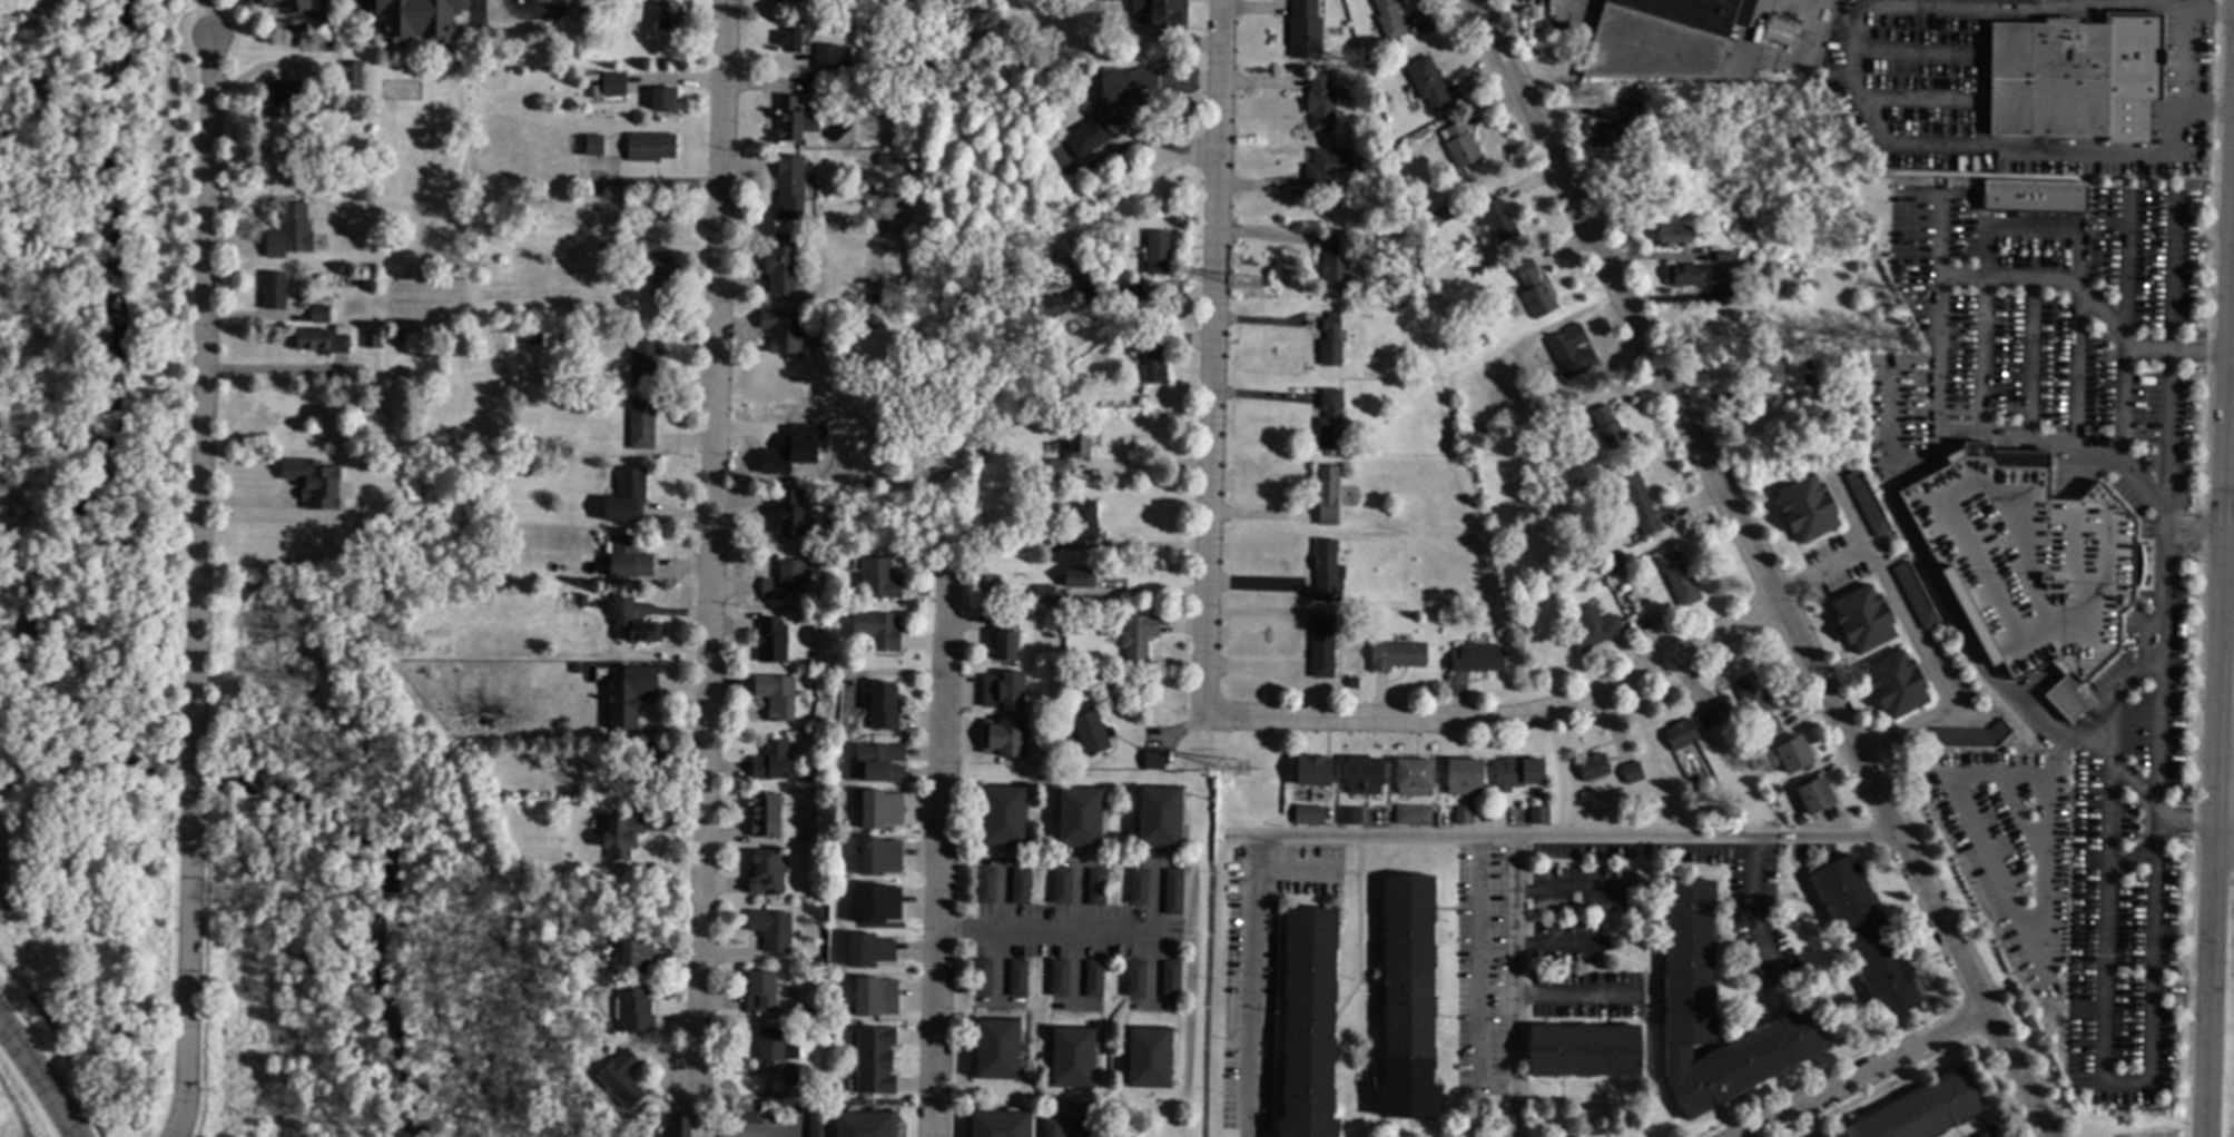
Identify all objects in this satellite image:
building: (535, 0)
building: (785, 0)
building: (603, 1)
building: (284, 4)
road: (1797, 9)
building: (1159, 13)
building: (667, 14)
road: (210, 16)
building: (1389, 18)
building: (416, 19)
building: (1305, 30)
building: (1778, 33)
building: (1664, 38)
building: (789, 40)
building: (826, 58)
road: (2183, 58)
building: (849, 60)
building: (1366, 61)
building: (2070, 73)
building: (350, 75)
building: (590, 78)
building: (875, 83)
building: (1427, 85)
building: (613, 86)
building: (282, 97)
building: (665, 99)
building: (1320, 103)
building: (1114, 108)
building: (1632, 116)
river: (147, 119)
building: (790, 119)
building: (1603, 136)
building: (590, 146)
building: (1459, 146)
building: (1405, 147)
building: (649, 148)
building: (1368, 157)
building: (885, 160)
building: (1328, 167)
building: (480, 181)
road: (1140, 185)
building: (790, 188)
building: (2033, 198)
building: (1496, 220)
building: (1456, 224)
building: (289, 233)
building: (1674, 236)
building: (1157, 253)
building: (1725, 258)
building: (1335, 260)
building: (780, 265)
building: (656, 268)
building: (1725, 274)
building: (1684, 276)
power tower: (1258, 285)
building: (1533, 290)
building: (274, 291)
building: (1089, 293)
building: (1129, 295)
building: (1449, 308)
building: (1045, 310)
building: (319, 314)
building: (870, 318)
building: (573, 320)
building: (783, 330)
building: (400, 335)
building: (523, 337)
building: (317, 340)
building: (371, 340)
building: (1330, 344)
building: (1568, 352)
road: (2181, 352)
building: (1509, 358)
road: (1212, 359)
building: (643, 360)
building: (1150, 363)
building: (1498, 363)
building: (1815, 364)
building: (1769, 367)
road: (267, 372)
road: (1936, 384)
road: (201, 388)
building: (1043, 401)
building: (1568, 415)
building: (1329, 421)
building: (641, 423)
building: (1544, 425)
building: (1607, 428)
building: (959, 441)
building: (524, 444)
building: (794, 449)
road: (2223, 452)
building: (1070, 455)
building: (977, 459)
building: (522, 467)
building: (313, 482)
building: (627, 496)
building: (1327, 496)
building: (1635, 503)
building: (1868, 504)
building: (1807, 508)
road: (2165, 508)
building: (789, 514)
building: (1083, 521)
road: (2193, 534)
building: (1050, 542)
road: (710, 543)
road: (1139, 550)
park: (91, 552)
building: (628, 558)
building: (1615, 558)
building: (2028, 565)
building: (1327, 568)
road: (1758, 568)
building: (1079, 577)
building: (784, 580)
building: (1679, 580)
building: (879, 581)
building: (988, 582)
building: (548, 590)
building: (1045, 595)
building: (1915, 596)
building: (1630, 597)
building: (581, 601)
building: (1635, 605)
building: (1863, 620)
building: (632, 623)
building: (1592, 629)
building: (876, 630)
road: (1911, 630)
building: (1138, 637)
building: (1003, 639)
building: (770, 641)
building: (1322, 647)
road: (1681, 654)
building: (1397, 656)
building: (1477, 659)
building: (1352, 684)
building: (1060, 685)
building: (1896, 685)
building: (1004, 692)
building: (1752, 695)
building: (629, 696)
building: (776, 696)
building: (884, 706)
river: (122, 714)
building: (1709, 720)
road: (1397, 722)
building: (1770, 728)
building: (1092, 733)
building: (1681, 735)
building: (1758, 736)
building: (1003, 738)
building: (1972, 738)
building: (1793, 755)
building: (1153, 760)
building: (771, 761)
building: (880, 762)
building: (653, 764)
road: (2112, 765)
building: (1592, 768)
power tower: (1243, 770)
building: (1312, 771)
building: (1517, 773)
building: (1631, 773)
building: (1364, 775)
building: (805, 777)
building: (1464, 777)
road: (193, 778)
building: (1414, 778)
building: (1942, 778)
road: (2050, 778)
building: (1773, 791)
building: (1814, 797)
building: (1779, 802)
building: (2033, 805)
building: (880, 810)
building: (765, 815)
building: (1003, 815)
building: (1308, 815)
building: (1411, 815)
building: (1464, 815)
building: (1538, 815)
building: (1079, 817)
building: (1159, 817)
building: (1350, 817)
building: (1787, 818)
road: (2186, 823)
road: (2223, 832)
building: (622, 833)
road: (1565, 837)
building: (816, 839)
road: (939, 856)
building: (879, 857)
building: (766, 874)
building: (985, 886)
building: (1020, 887)
building: (1062, 887)
building: (1139, 887)
building: (1096, 888)
building: (1173, 892)
building: (876, 903)
road: (1750, 903)
park: (363, 908)
building: (771, 930)
road: (1055, 932)
building: (1867, 938)
road: (2154, 950)
building: (868, 951)
building: (637, 957)
road: (1476, 962)
road: (188, 975)
building: (982, 978)
building: (1017, 979)
building: (1059, 979)
building: (1093, 979)
building: (1135, 979)
building: (1171, 980)
road: (2207, 982)
road: (1250, 987)
road: (1512, 987)
building: (759, 992)
road: (1568, 993)
building: (875, 997)
building: (1408, 999)
building: (1689, 1000)
building: (633, 1011)
building: (1309, 1025)
building: (774, 1047)
building: (996, 1049)
building: (1584, 1051)
building: (1073, 1057)
building: (1149, 1058)
building: (873, 1061)
building: (799, 1075)
road: (39, 1078)
road: (1866, 1078)
building: (621, 1079)
building: (1921, 1111)
building: (744, 1116)
building: (863, 1124)
building: (1000, 1124)
building: (817, 1126)
building: (678, 1127)
building: (1052, 1128)
building: (1086, 1128)
road: (797, 1131)

